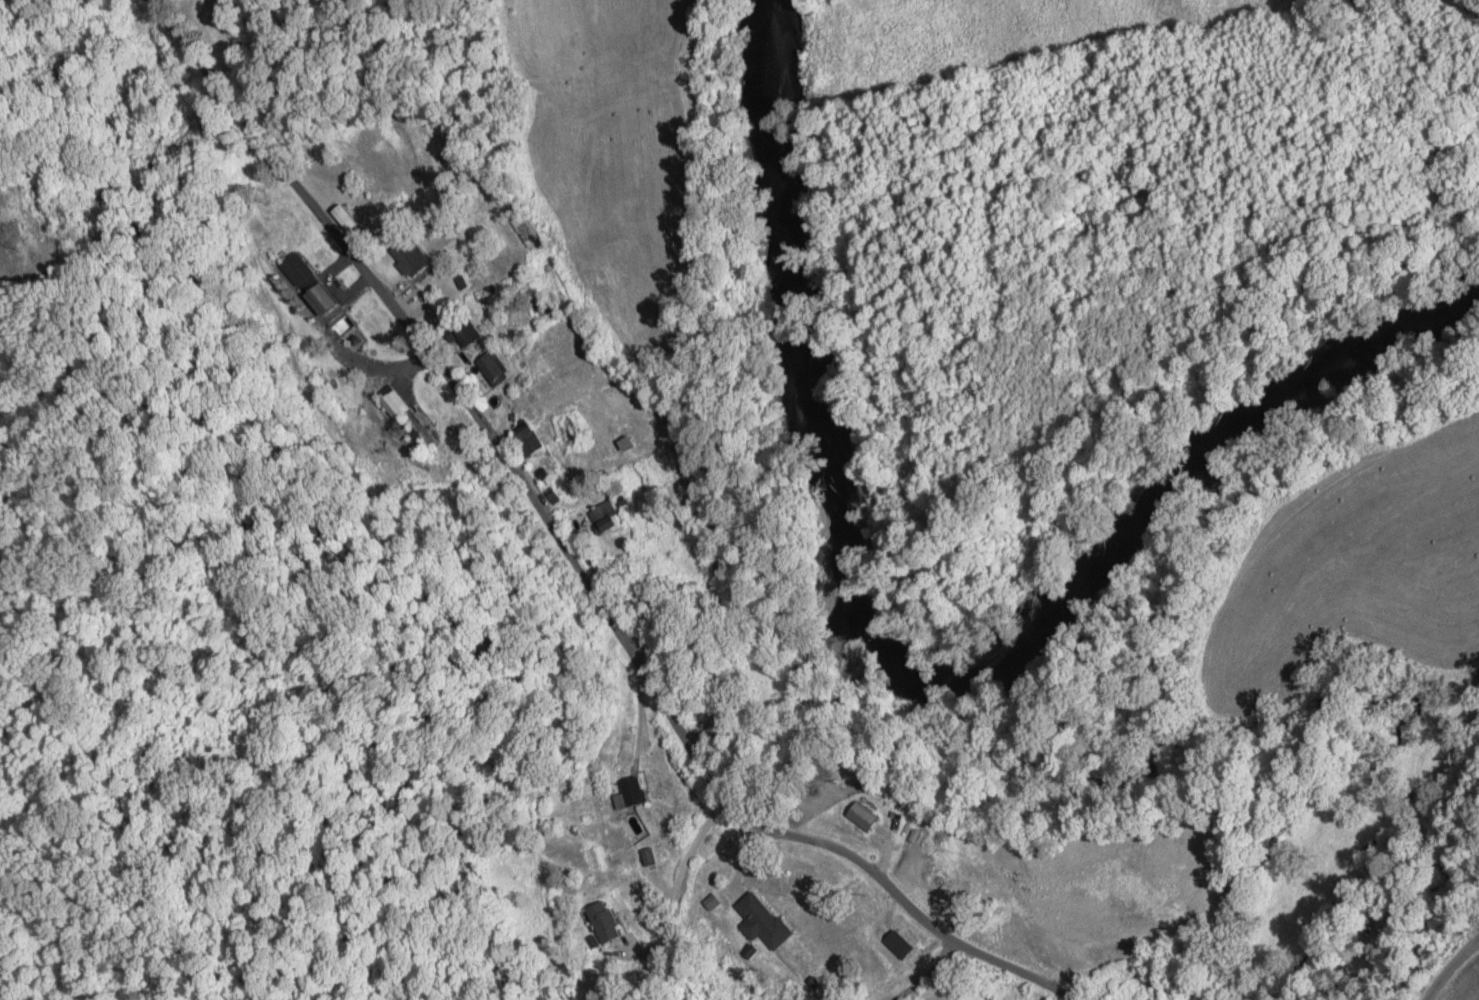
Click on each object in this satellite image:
railway: (1475, 2)
power tower: (6, 235)
building: (408, 257)
building: (303, 272)
building: (329, 300)
building: (467, 334)
building: (493, 368)
building: (401, 405)
building: (526, 439)
building: (613, 516)
road: (574, 555)
river: (919, 673)
building: (636, 793)
building: (862, 816)
road: (695, 852)
building: (604, 921)
building: (762, 921)
building: (896, 944)
road: (1452, 970)

